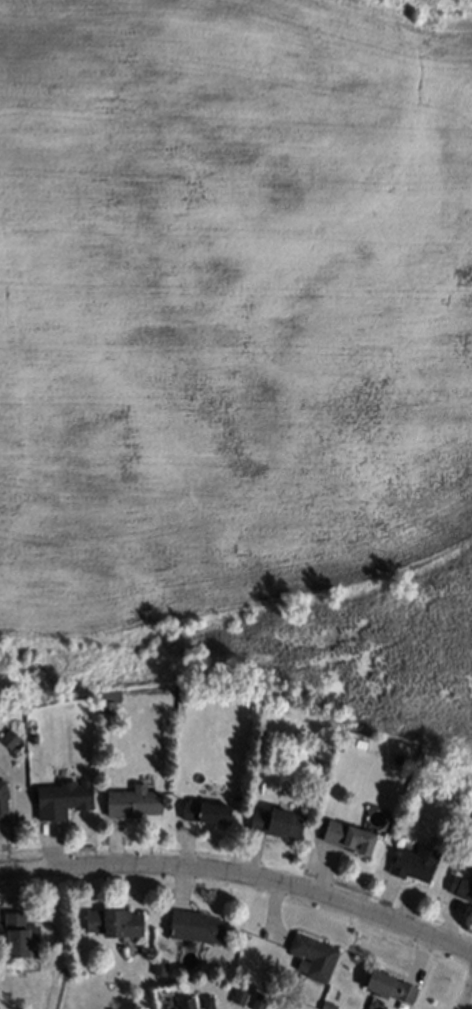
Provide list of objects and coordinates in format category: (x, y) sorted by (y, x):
building: (105, 699)
building: (30, 736)
building: (260, 736)
building: (7, 737)
building: (356, 741)
building: (59, 797)
building: (1, 799)
building: (129, 801)
building: (202, 811)
building: (273, 821)
building: (344, 835)
building: (411, 861)
road: (242, 875)
building: (462, 888)
building: (111, 921)
building: (191, 925)
building: (17, 935)
building: (311, 955)
building: (156, 965)
building: (92, 968)
building: (386, 985)
building: (236, 995)
building: (255, 1001)
building: (183, 1002)
building: (207, 1002)
building: (324, 1005)

